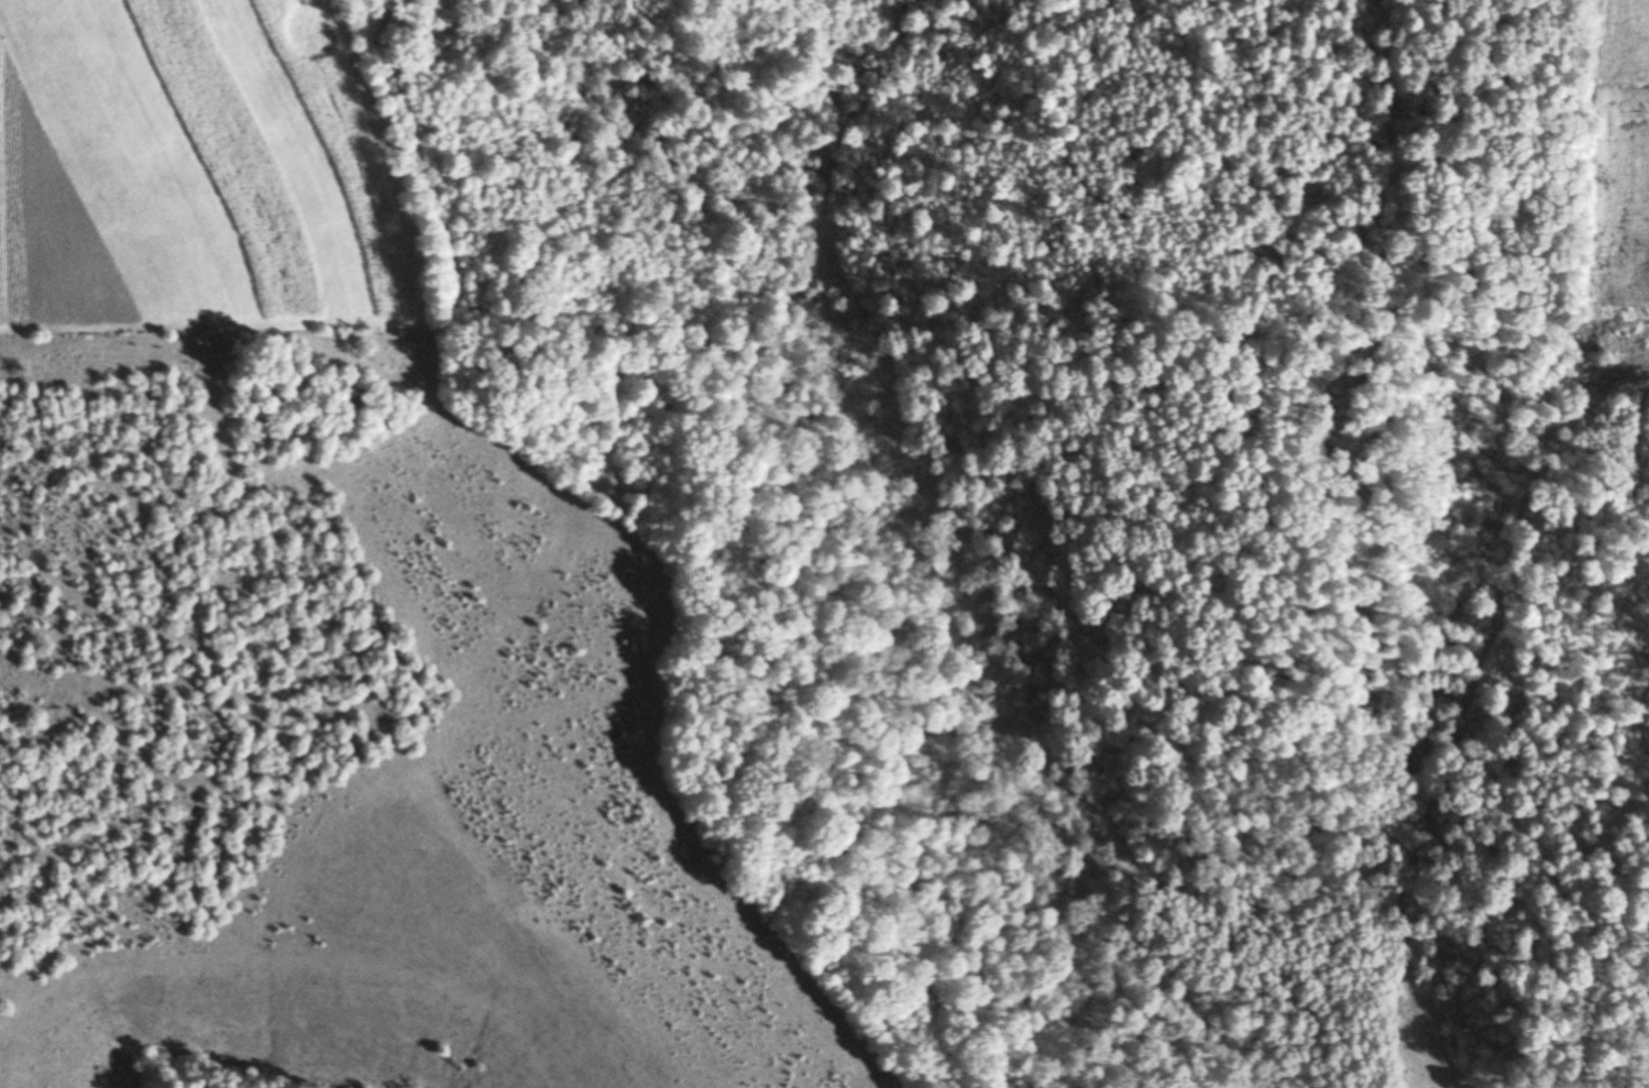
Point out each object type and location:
crop: (1618, 166)
crop: (187, 171)

